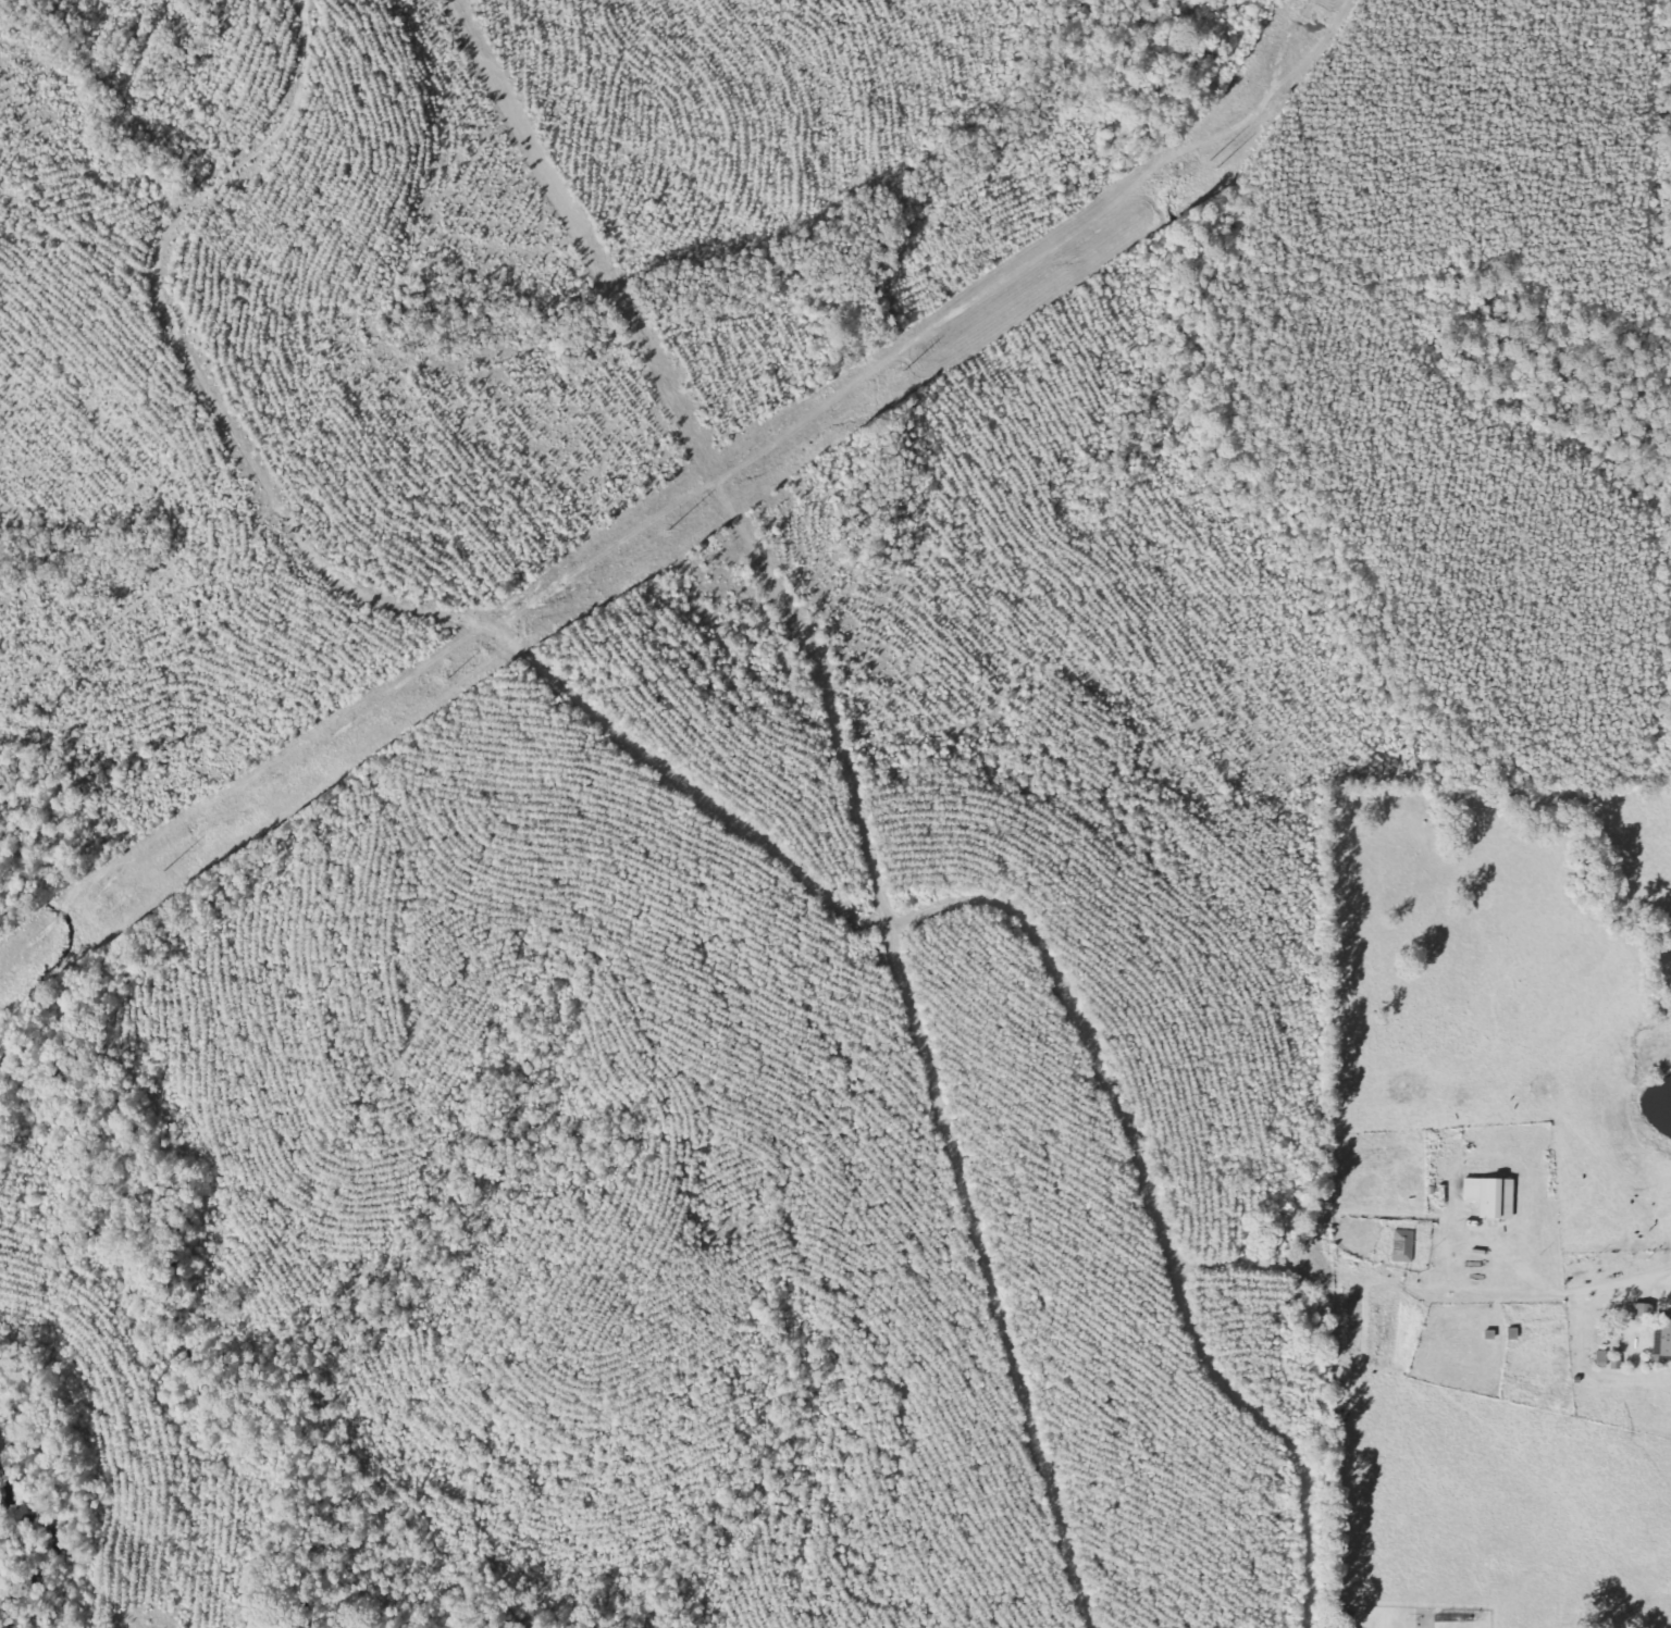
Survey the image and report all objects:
road: (1611, 376)
building: (1494, 1197)
building: (1406, 1246)
building: (1663, 1339)
building: (1604, 1358)

